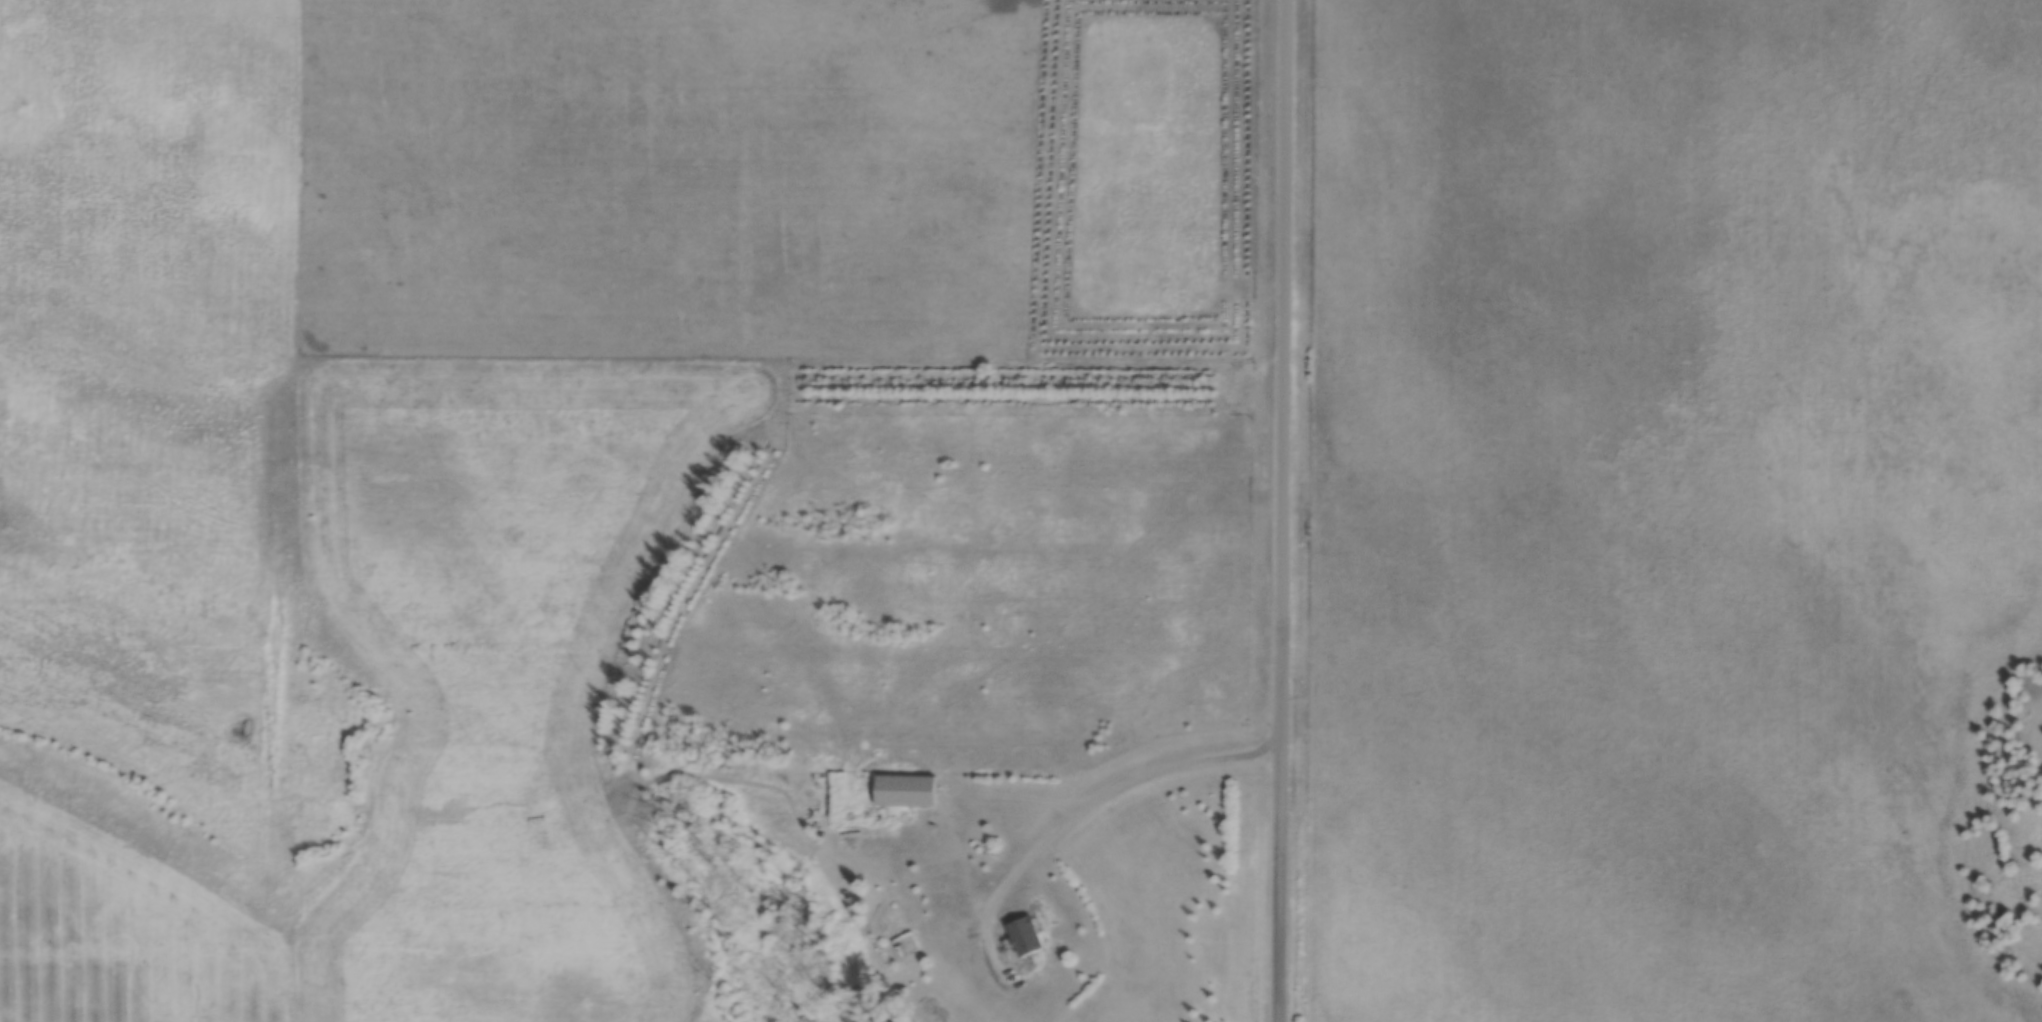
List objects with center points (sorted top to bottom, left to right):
road: (1282, 511)
building: (905, 790)
road: (1092, 802)
building: (1026, 935)

